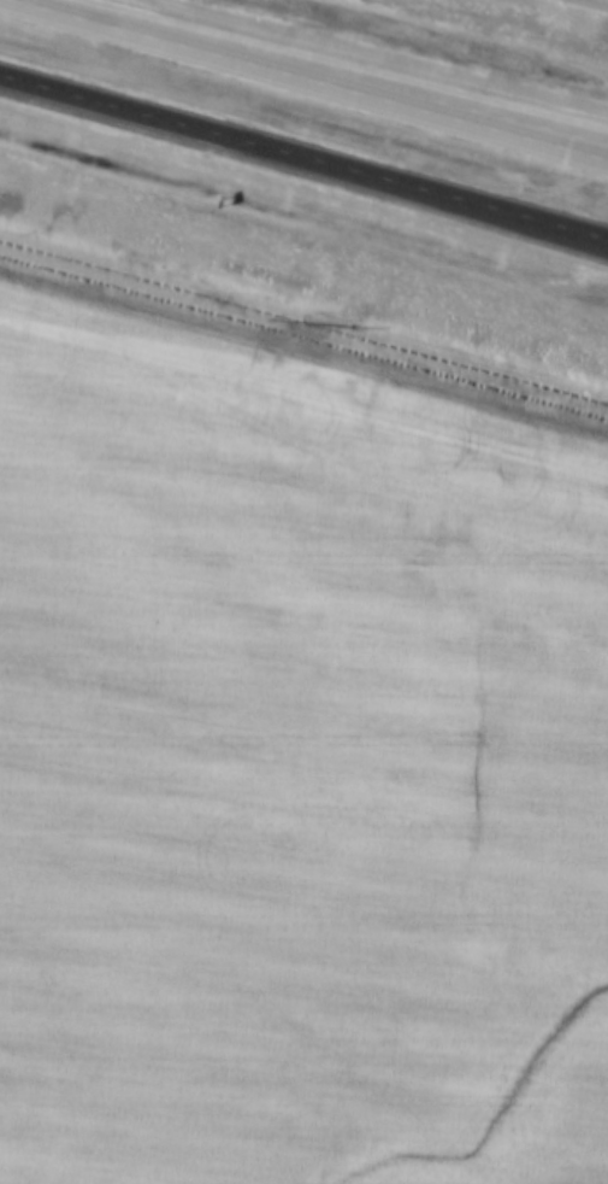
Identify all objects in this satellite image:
road: (303, 78)
road: (303, 164)

